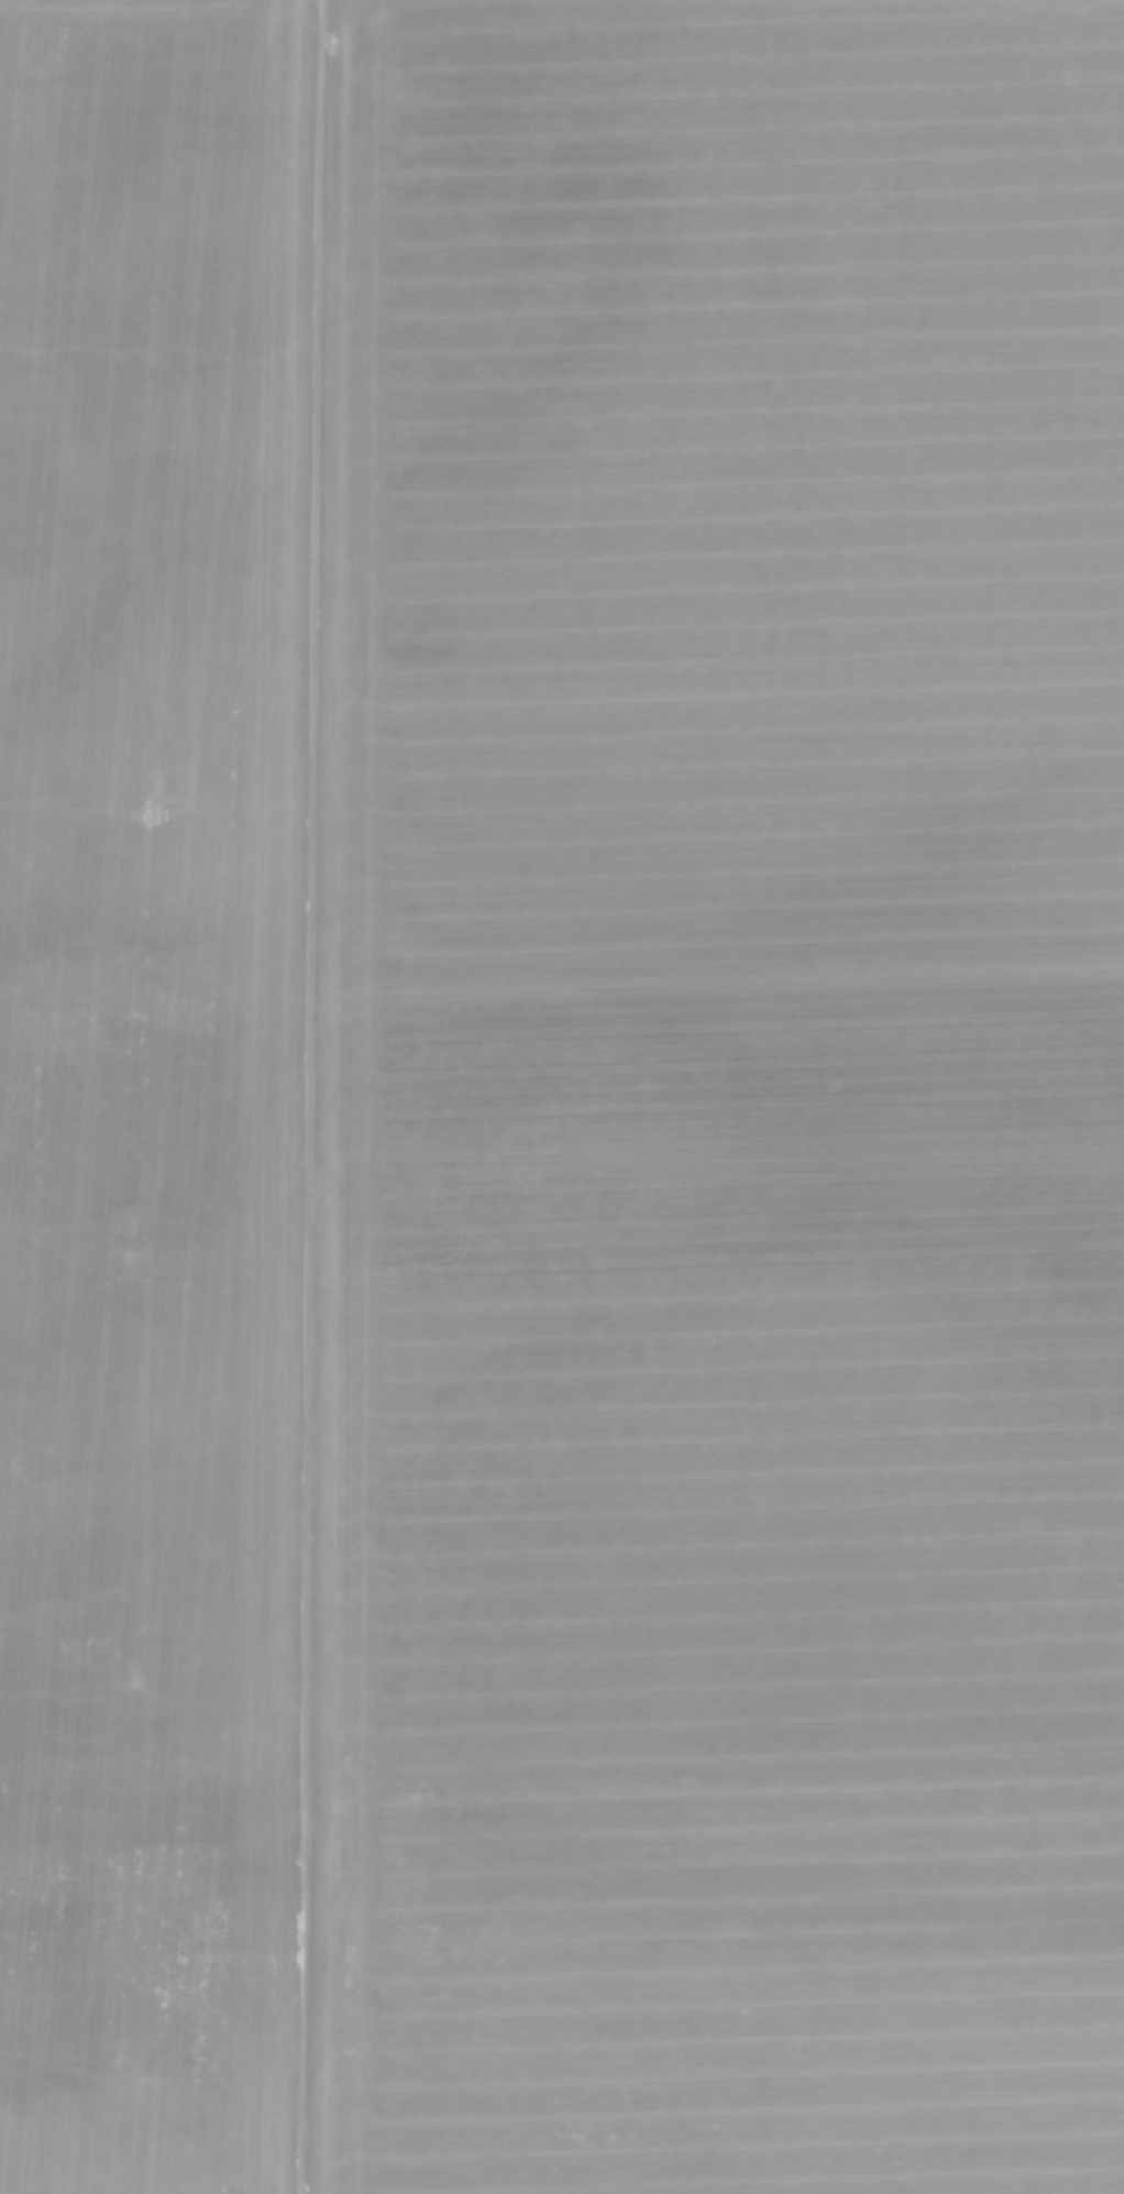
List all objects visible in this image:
road: (361, 1097)

